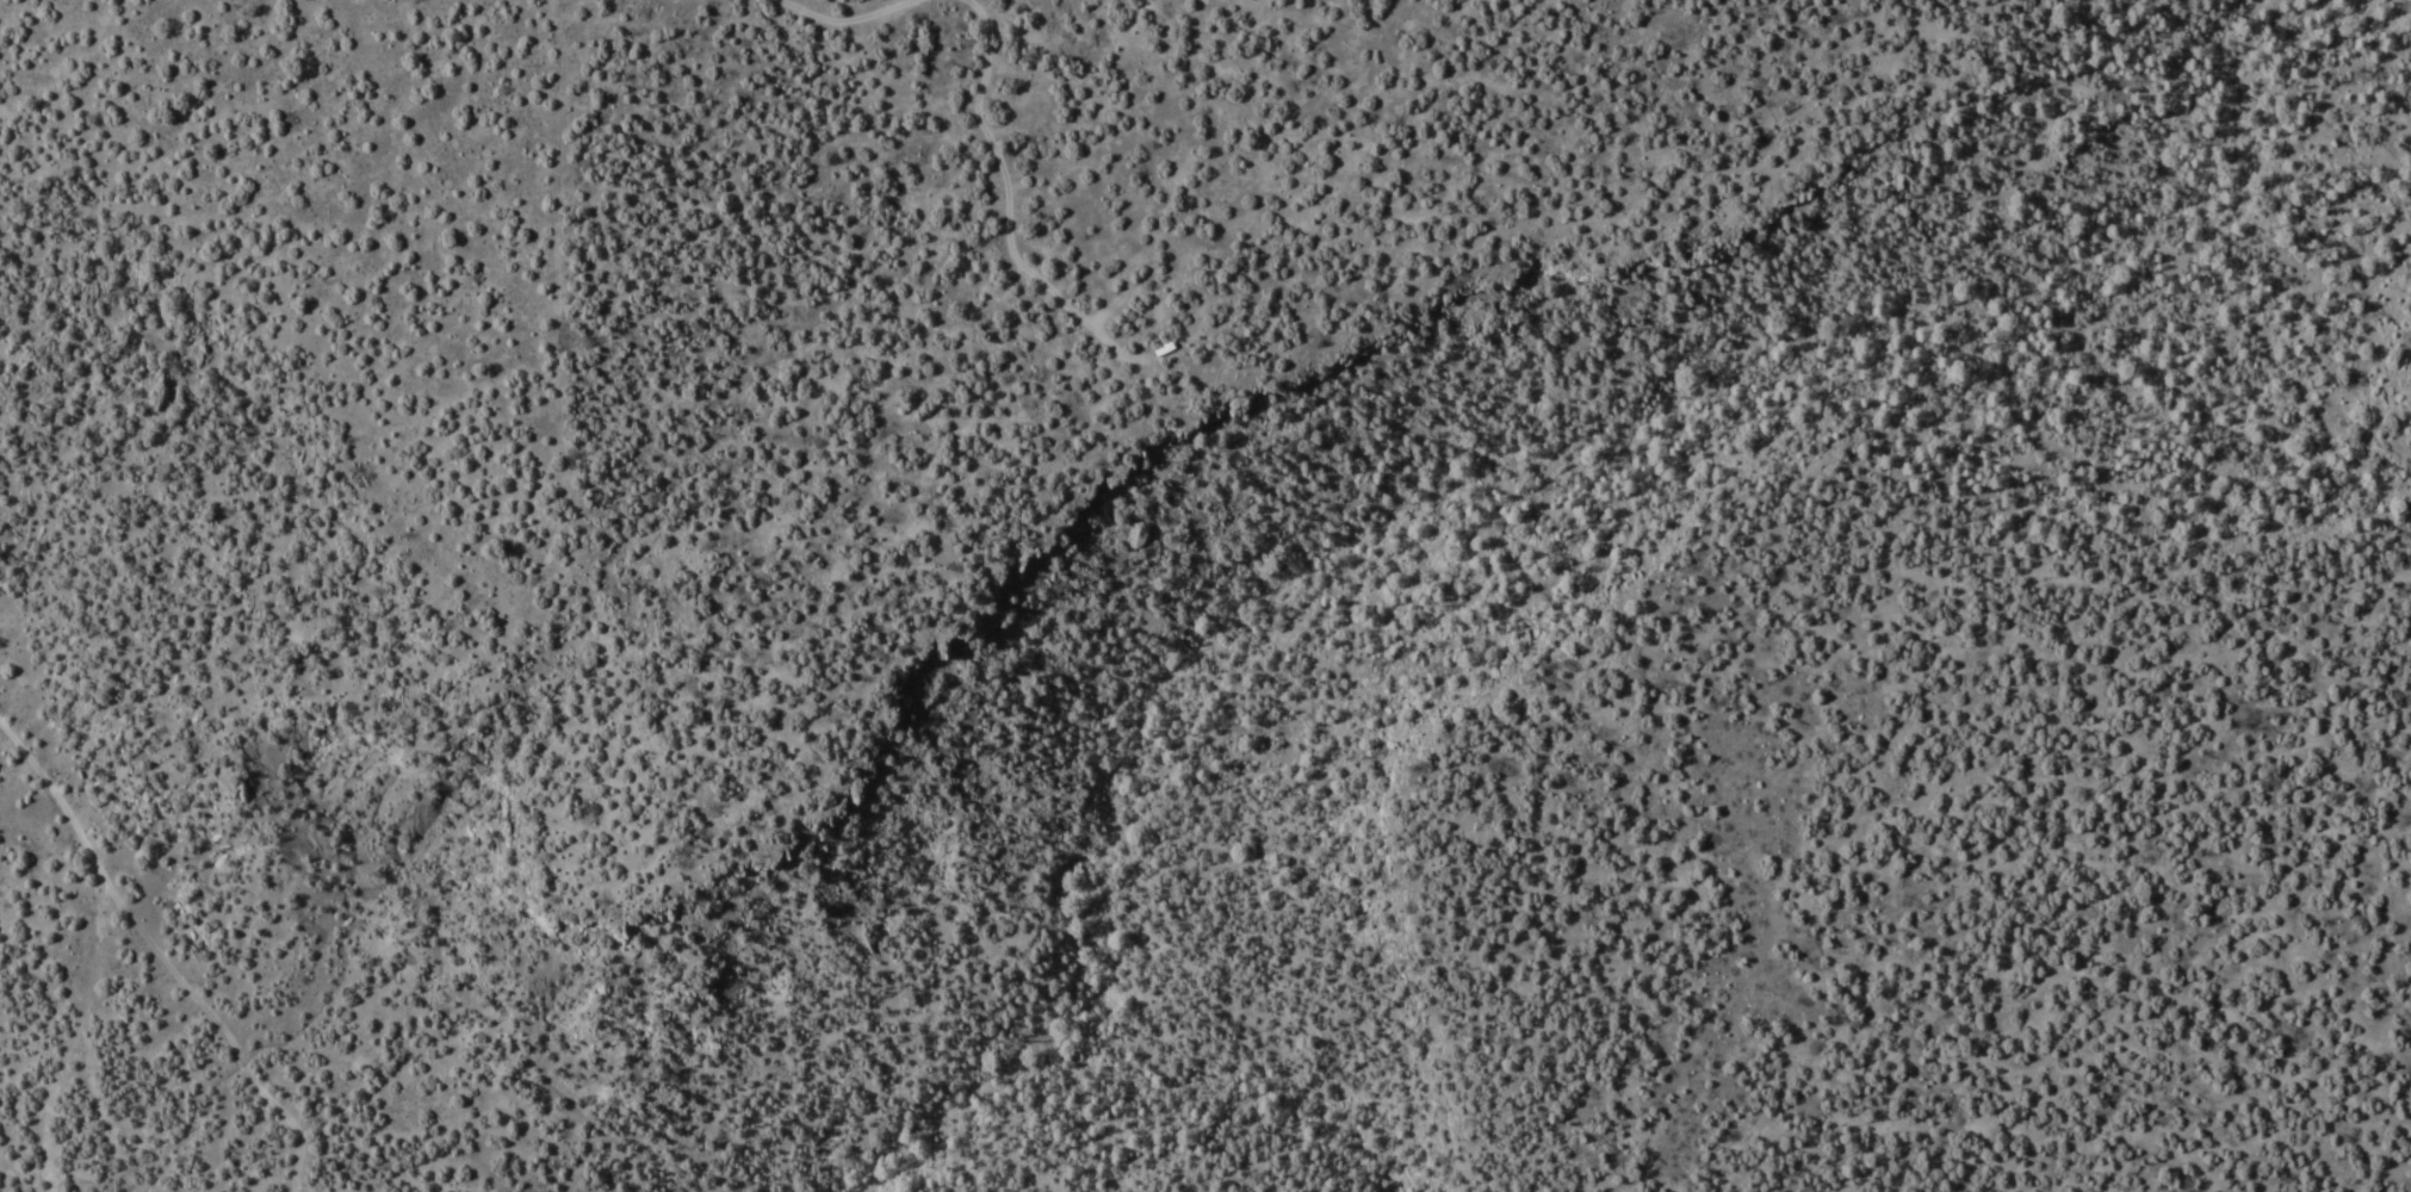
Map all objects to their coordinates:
road: (92, 951)

